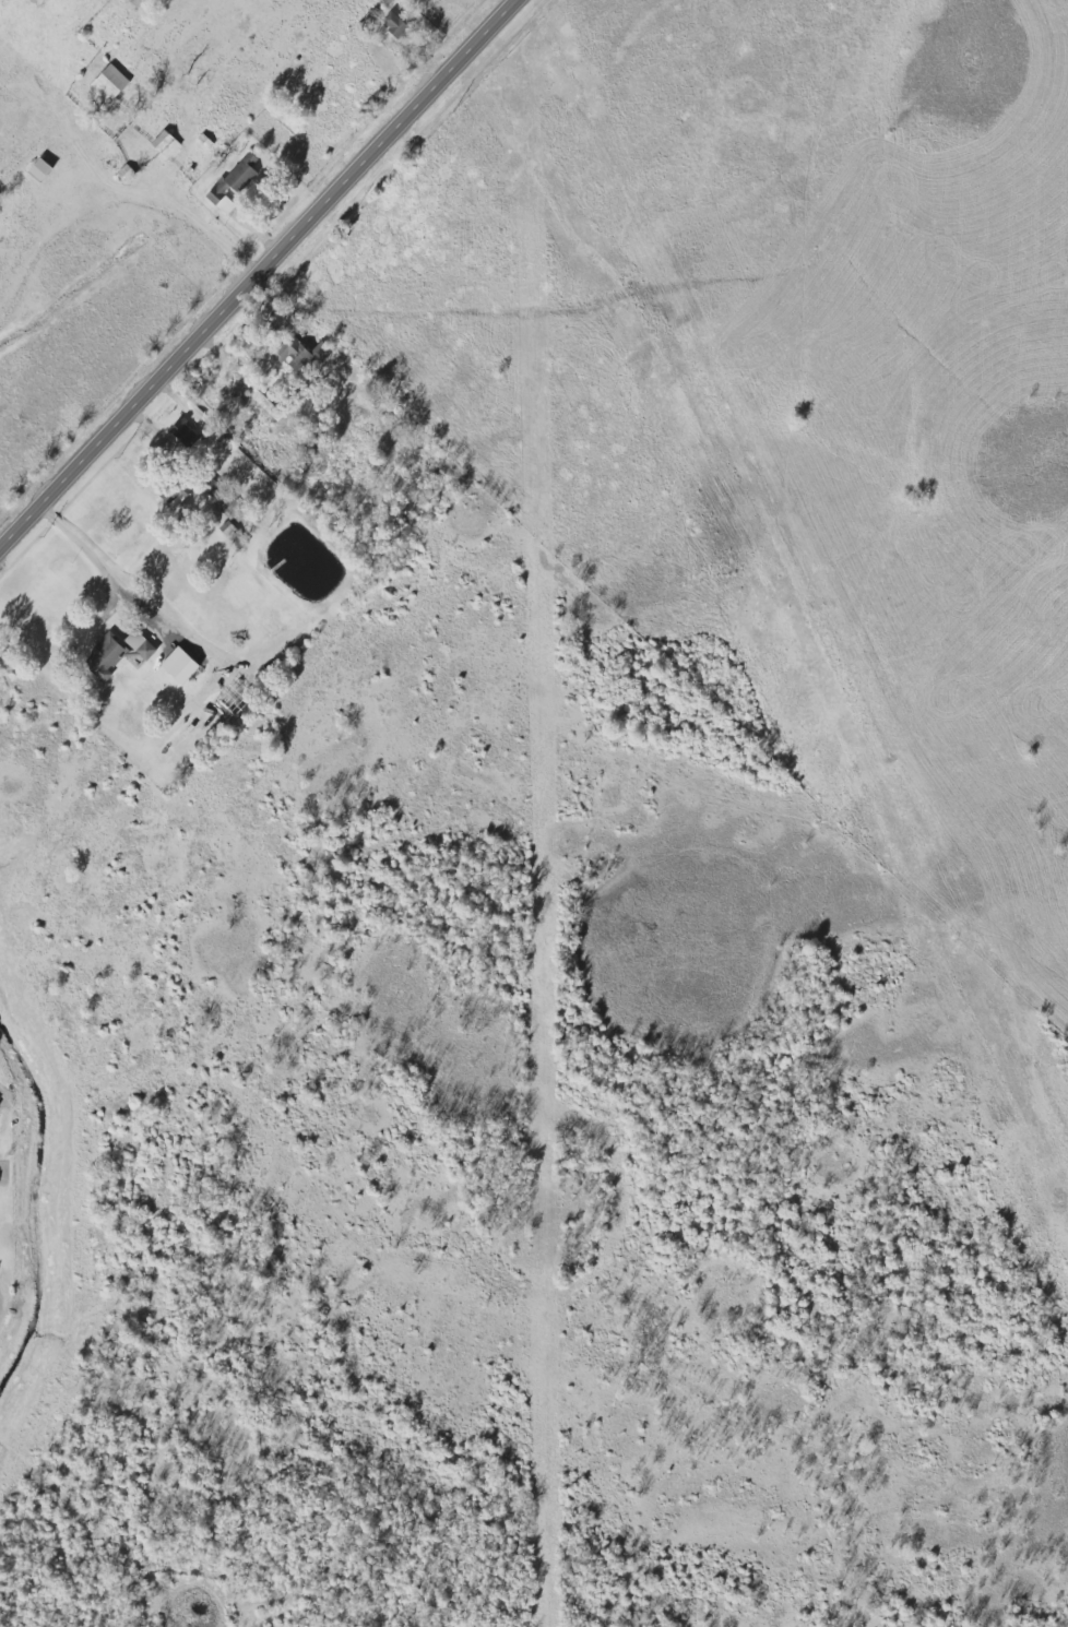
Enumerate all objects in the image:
building: (397, 25)
building: (109, 84)
building: (206, 141)
building: (167, 144)
building: (43, 171)
building: (234, 186)
road: (261, 277)
building: (308, 355)
building: (186, 434)
building: (178, 496)
building: (228, 508)
building: (230, 530)
road: (84, 545)
building: (142, 644)
building: (107, 655)
building: (182, 664)

